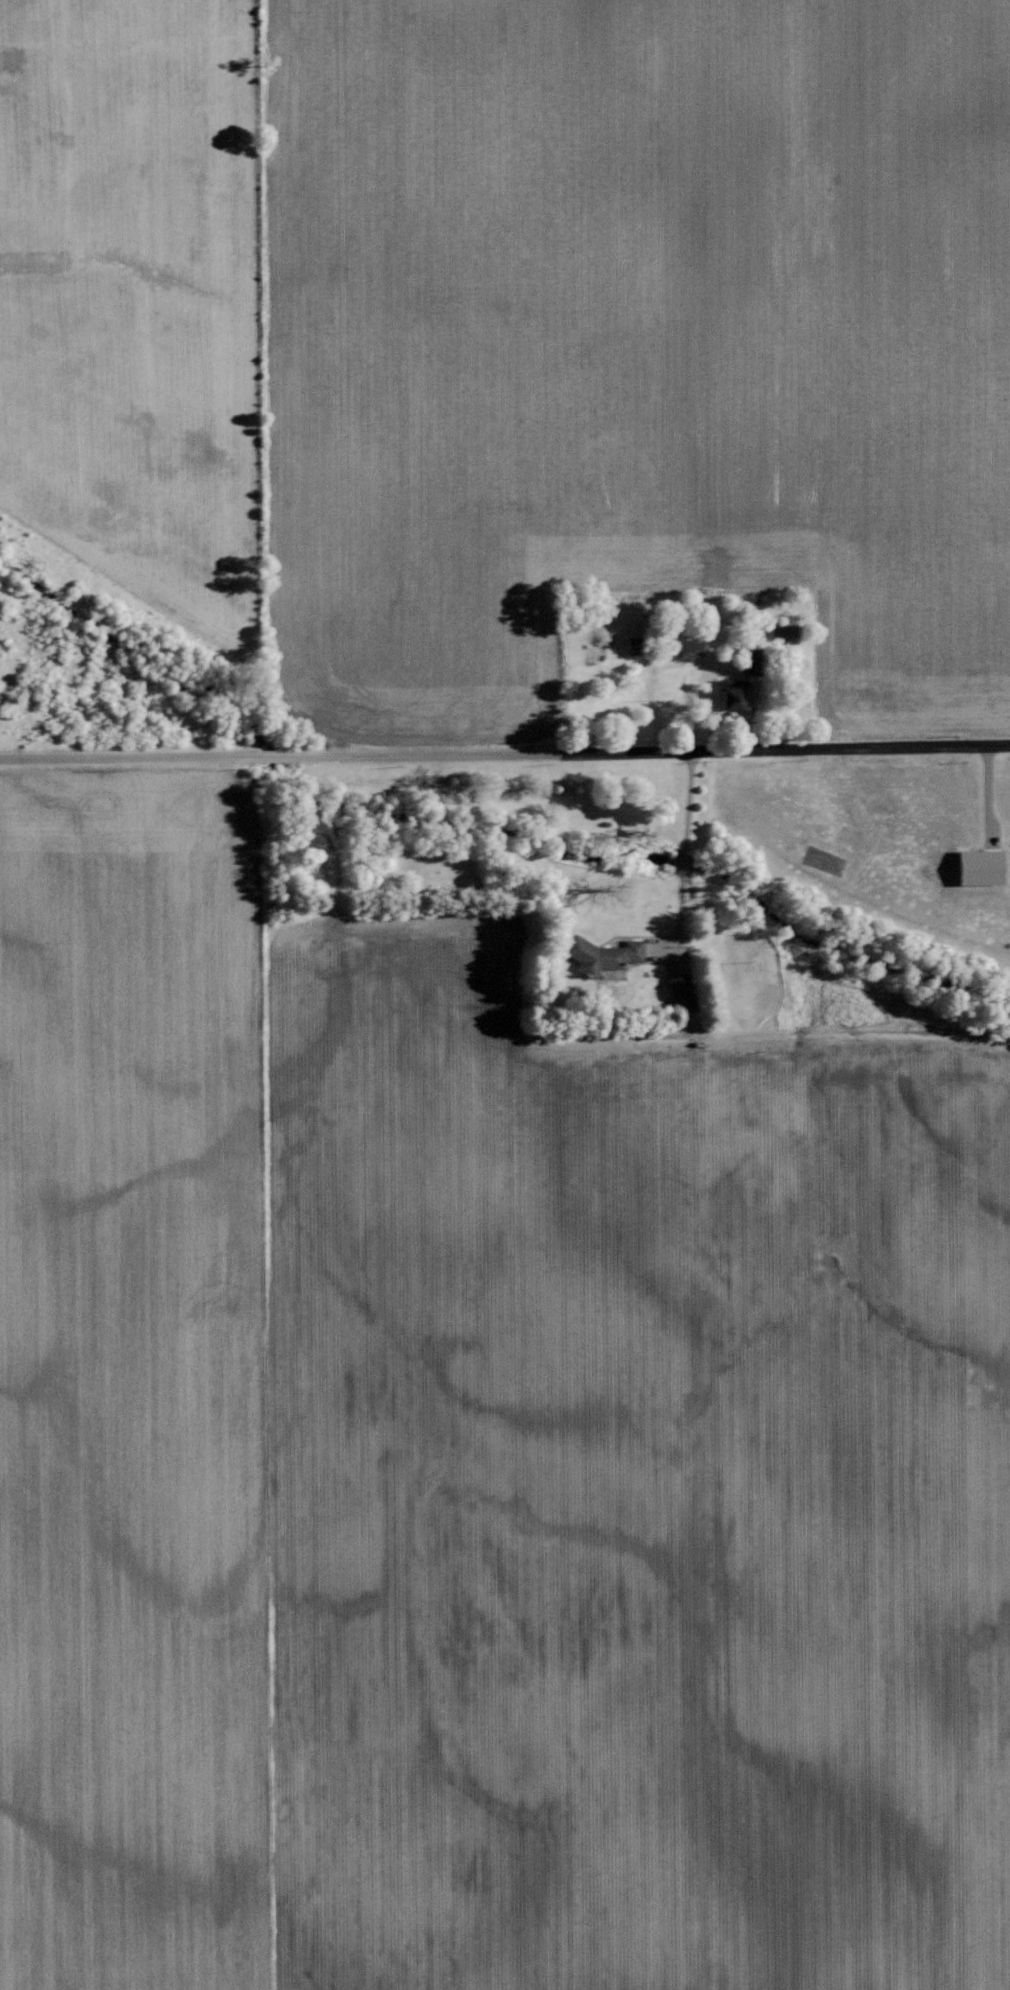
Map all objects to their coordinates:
building: (752, 663)
building: (732, 699)
road: (505, 751)
building: (981, 867)
building: (603, 954)
building: (682, 993)

